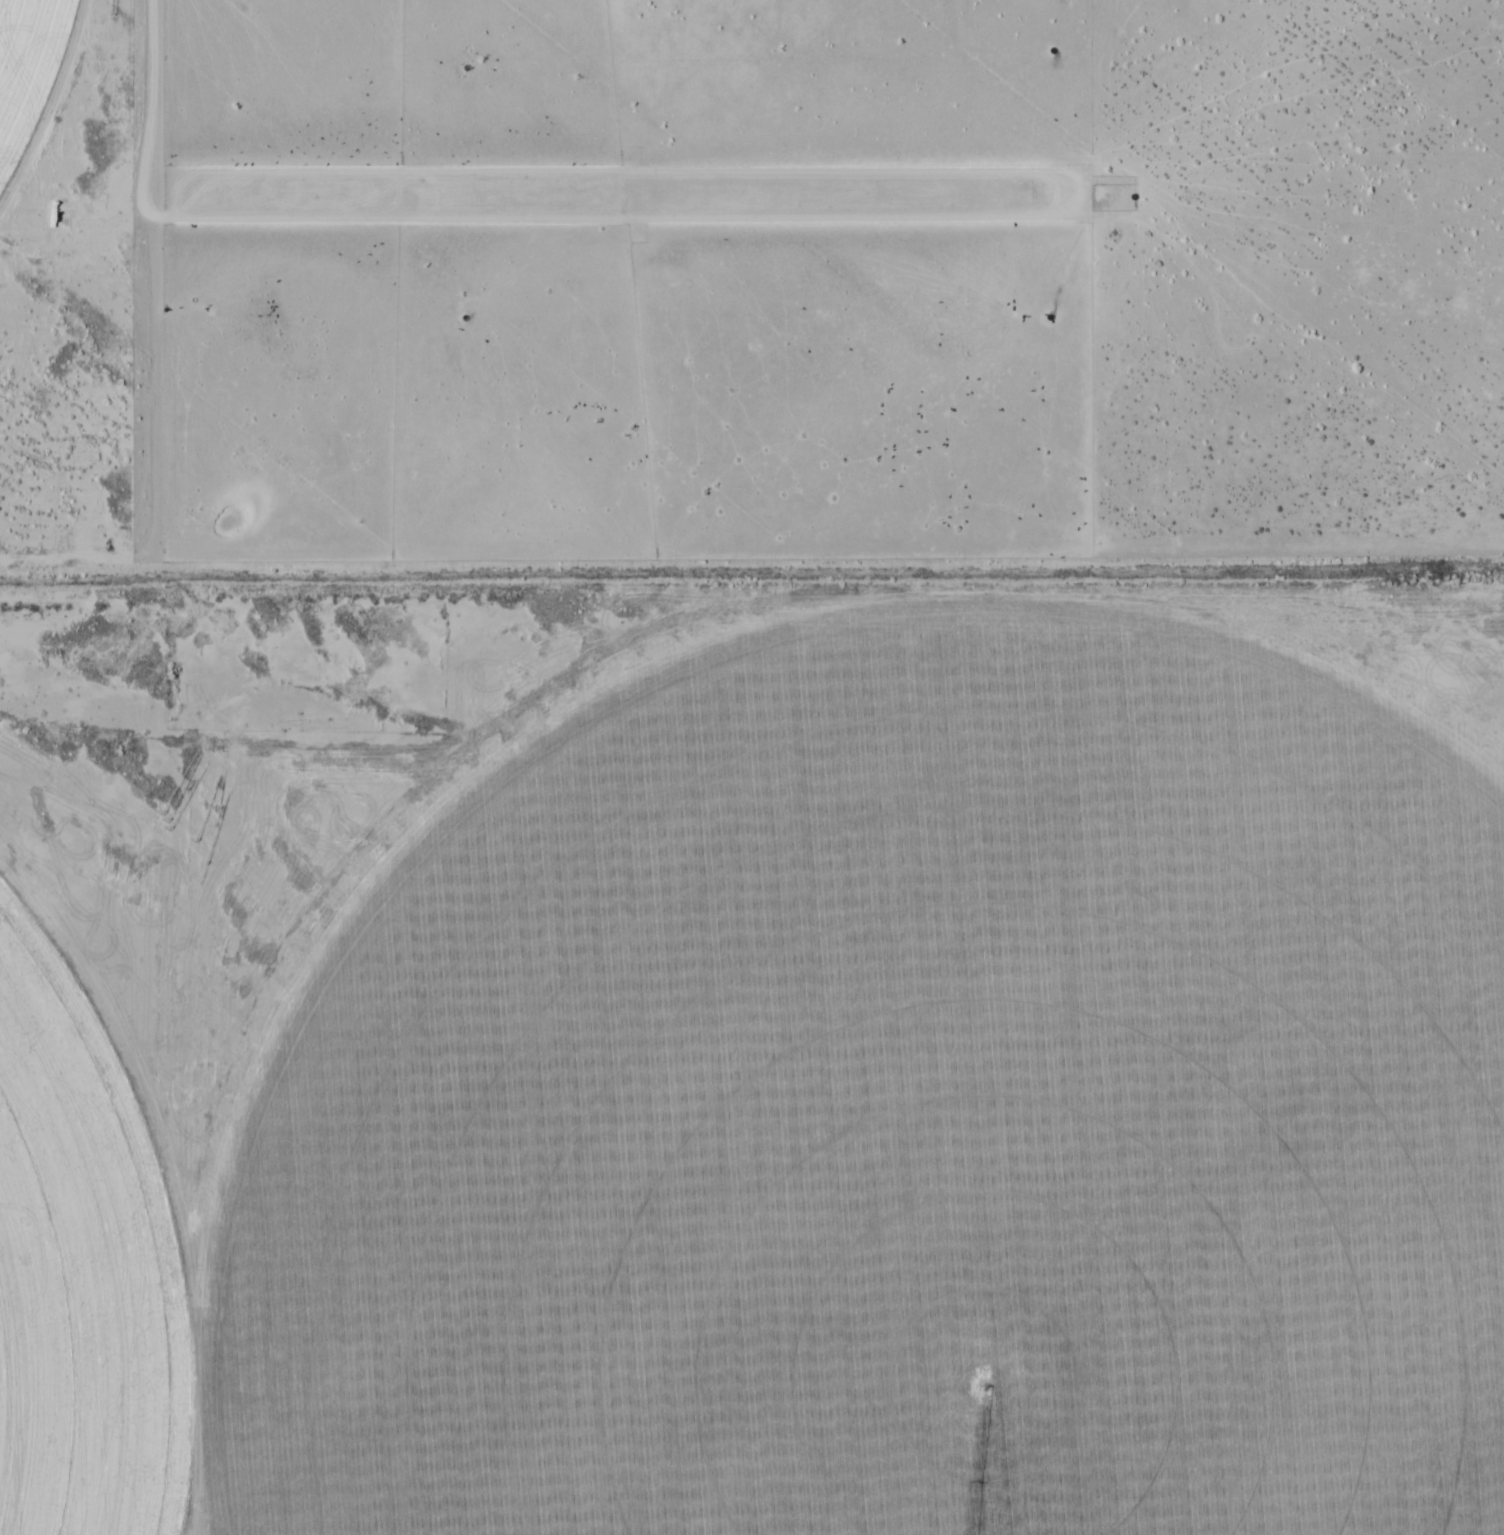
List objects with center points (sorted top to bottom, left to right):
crop: (899, 1113)
crop: (84, 1279)

